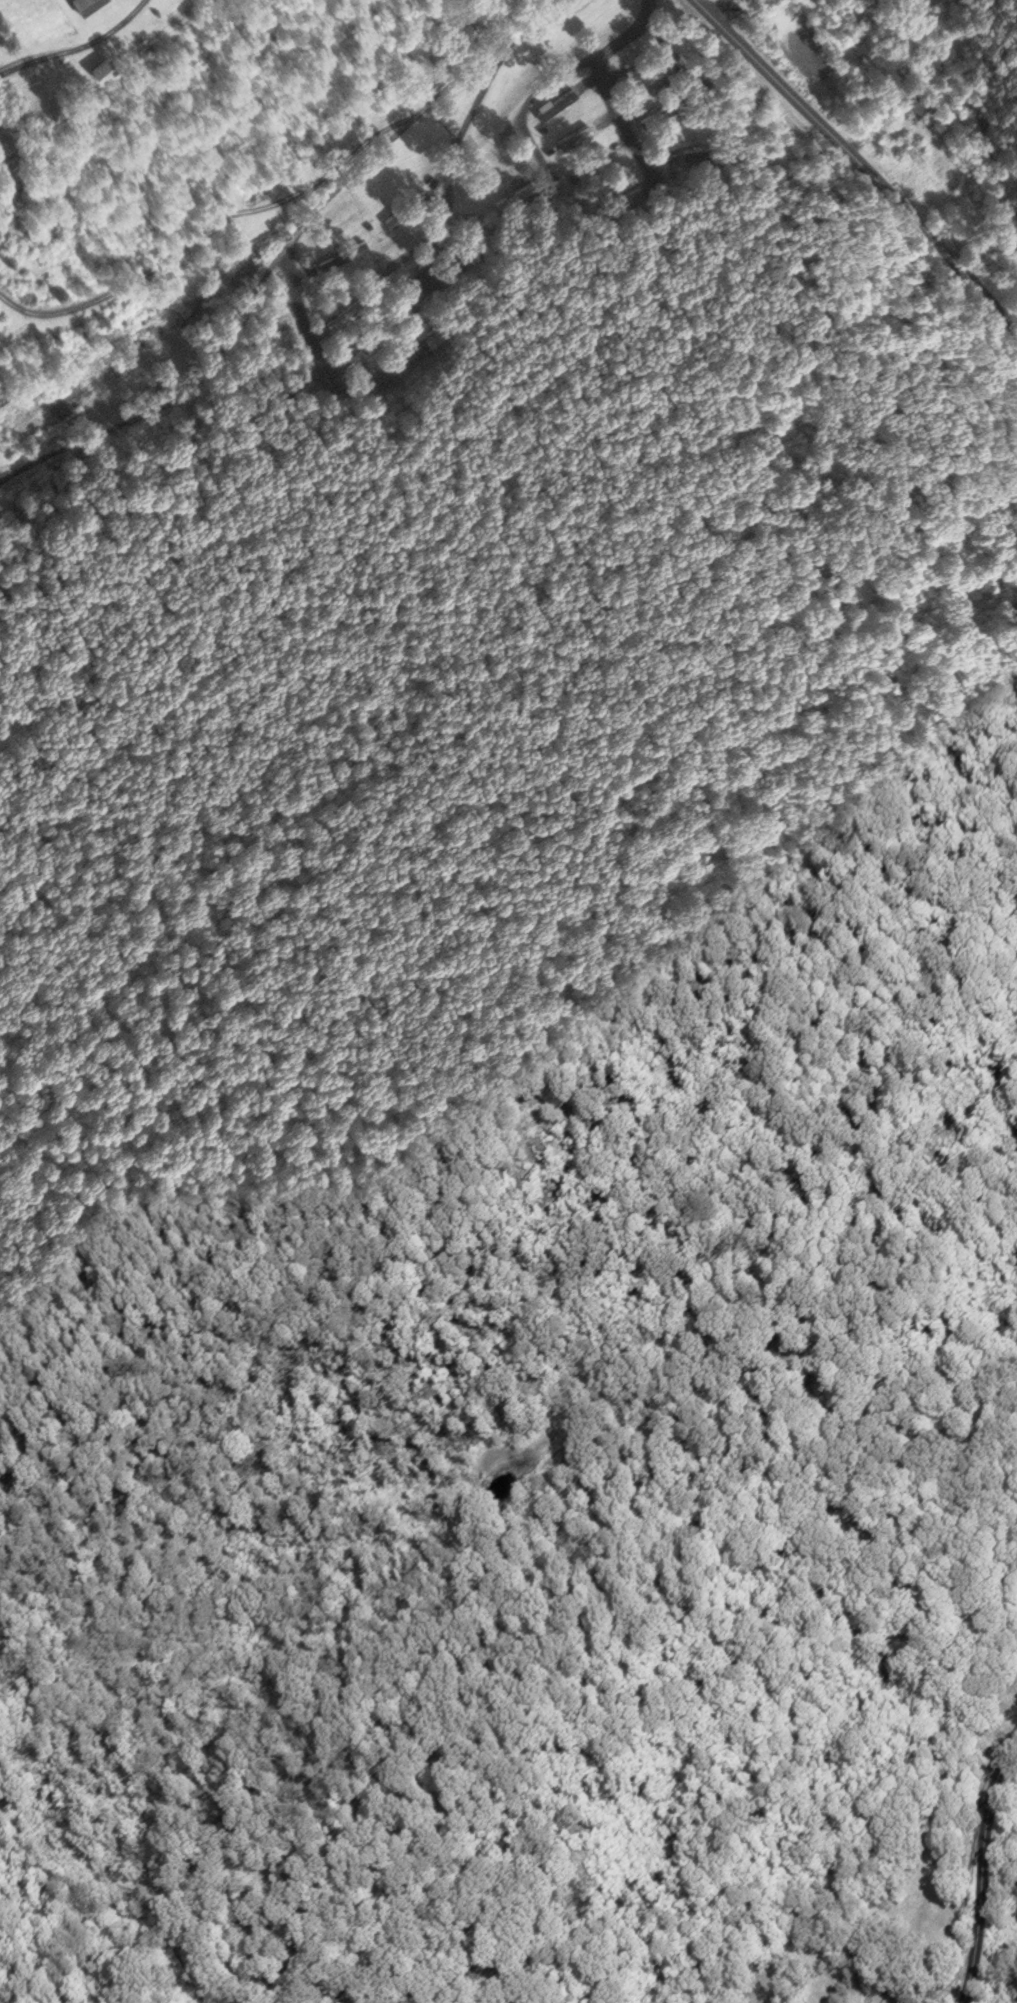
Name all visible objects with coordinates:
road: (535, 18)
road: (626, 33)
road: (80, 47)
road: (607, 94)
road: (524, 106)
road: (860, 161)
road: (207, 229)
road: (317, 373)
road: (174, 402)
road: (986, 1871)

